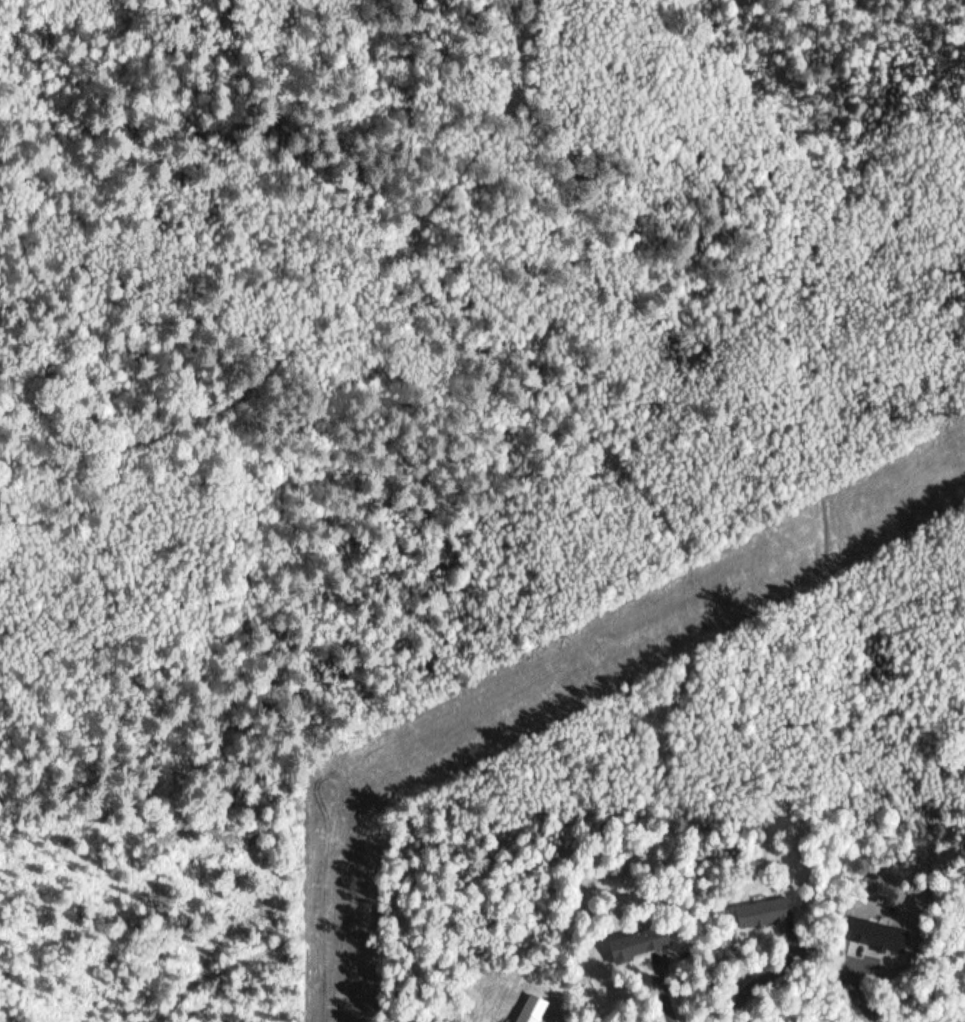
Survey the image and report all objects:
building: (642, 943)

